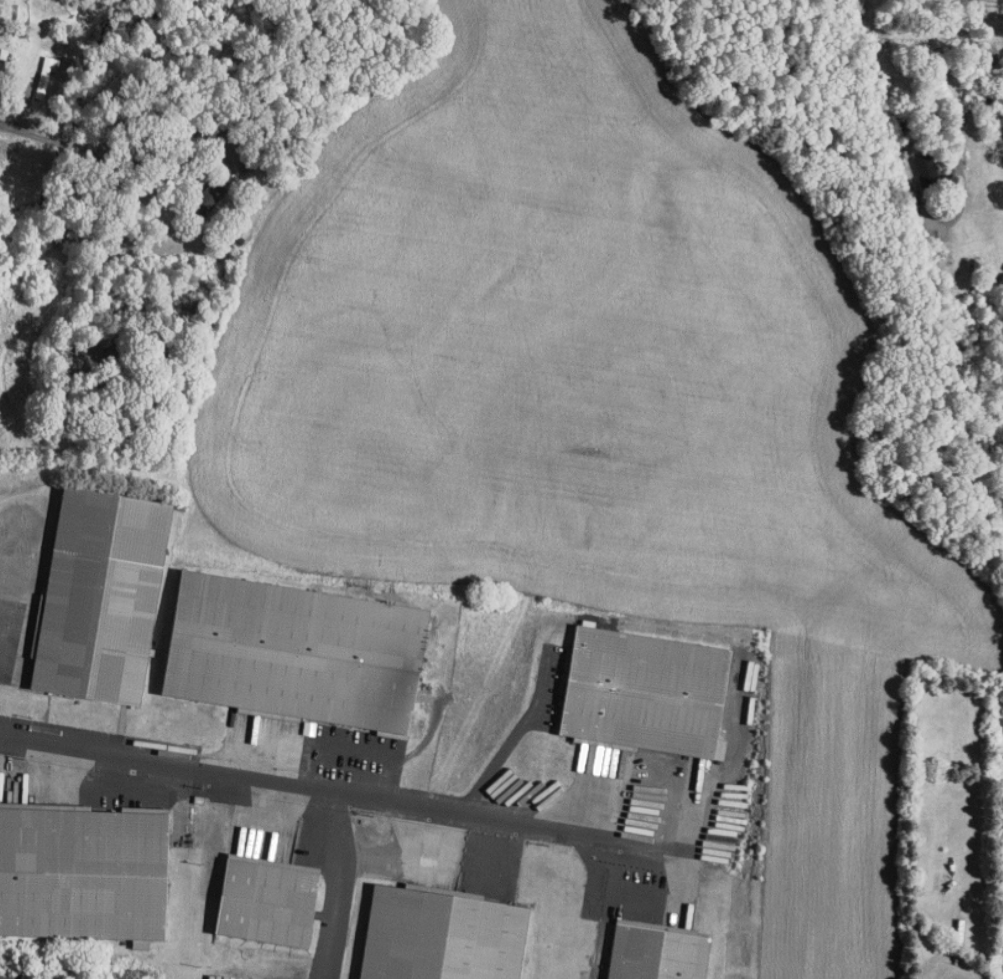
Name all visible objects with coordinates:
building: (1, 72)
road: (968, 112)
road: (44, 132)
building: (928, 171)
building: (101, 598)
building: (296, 653)
building: (647, 694)
road: (518, 731)
road: (345, 787)
road: (402, 853)
building: (84, 875)
road: (337, 882)
building: (268, 904)
building: (442, 937)
building: (657, 954)

